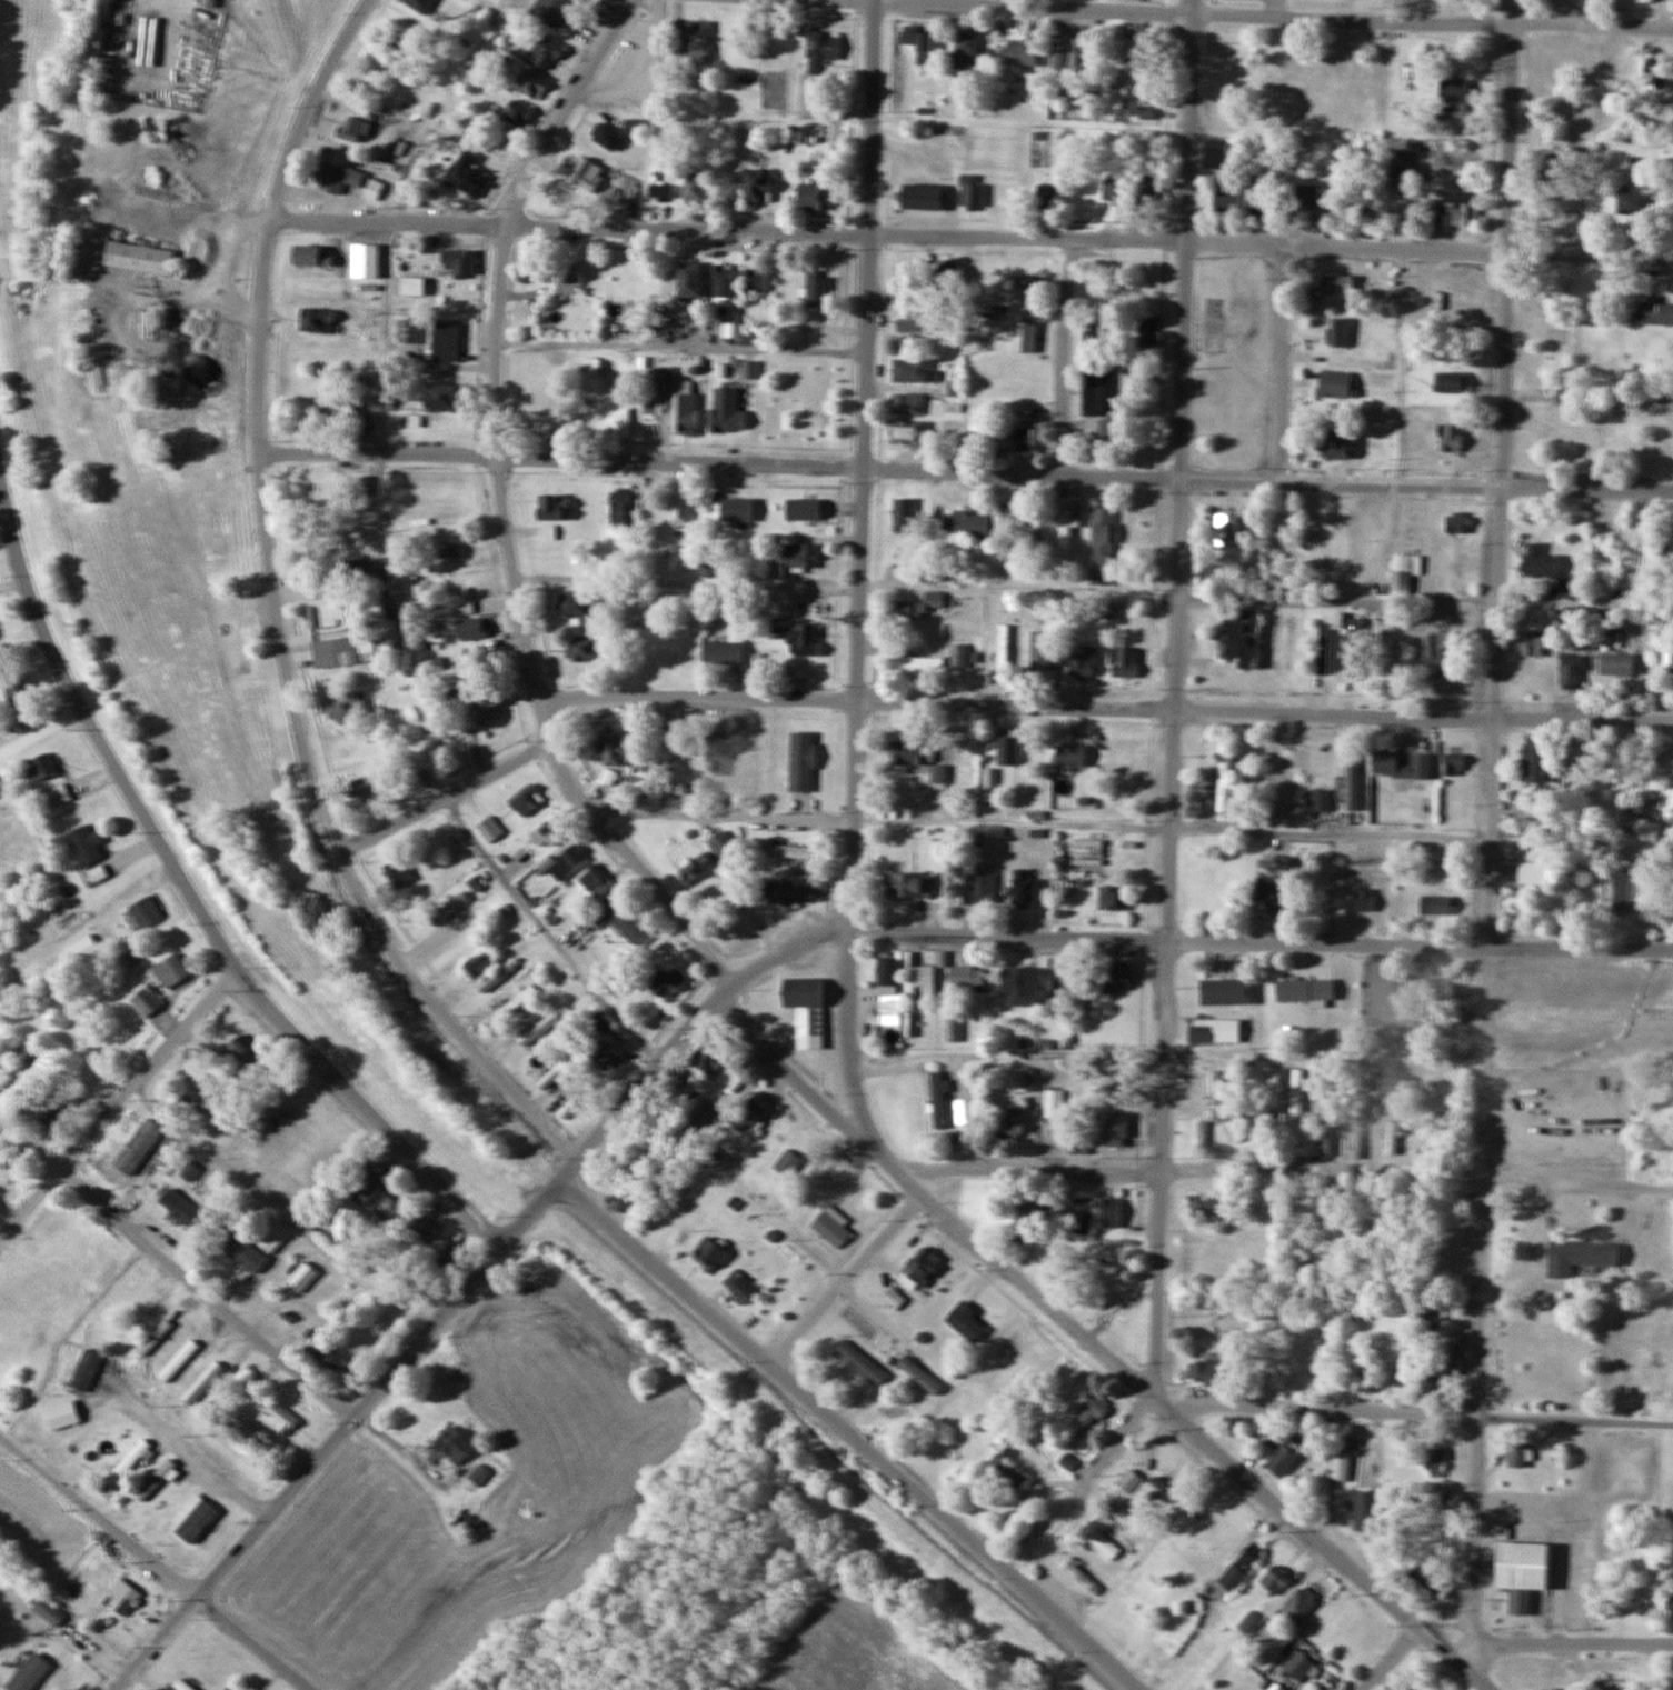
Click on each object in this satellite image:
building: (419, 4)
building: (551, 11)
road: (1273, 17)
building: (395, 42)
building: (917, 42)
building: (695, 43)
building: (966, 46)
building: (820, 50)
building: (542, 52)
building: (1019, 53)
building: (1079, 53)
building: (1654, 69)
building: (531, 86)
building: (1454, 90)
building: (516, 113)
building: (1146, 113)
road: (1512, 126)
building: (633, 127)
building: (352, 129)
building: (606, 136)
building: (497, 144)
building: (1214, 154)
building: (1552, 169)
building: (466, 174)
building: (586, 176)
building: (335, 178)
building: (757, 186)
building: (372, 188)
building: (694, 188)
building: (1146, 188)
building: (659, 192)
building: (970, 192)
building: (1114, 192)
building: (401, 194)
building: (920, 194)
building: (1048, 194)
building: (815, 197)
building: (1304, 197)
building: (1226, 201)
building: (1633, 202)
building: (1258, 208)
building: (1461, 208)
building: (1364, 216)
road: (570, 227)
road: (1271, 244)
building: (371, 250)
building: (309, 256)
building: (137, 257)
building: (456, 261)
building: (948, 272)
building: (566, 278)
building: (689, 280)
building: (724, 281)
building: (755, 282)
building: (1027, 282)
building: (410, 286)
building: (1336, 286)
building: (816, 289)
building: (1104, 307)
building: (1654, 312)
building: (313, 320)
building: (913, 321)
building: (368, 322)
building: (406, 331)
building: (1338, 332)
building: (753, 336)
building: (1023, 337)
building: (440, 343)
building: (983, 343)
park: (1174, 352)
road: (1060, 356)
road: (1282, 363)
building: (908, 369)
building: (1451, 382)
building: (664, 383)
building: (1334, 384)
building: (1102, 387)
building: (440, 397)
building: (904, 403)
building: (333, 410)
building: (724, 410)
building: (685, 413)
building: (540, 414)
building: (903, 432)
building: (1099, 432)
building: (978, 438)
building: (1450, 438)
building: (1018, 439)
building: (1337, 443)
road: (560, 459)
road: (1267, 480)
building: (552, 507)
building: (679, 508)
building: (619, 509)
building: (801, 509)
building: (736, 510)
building: (902, 514)
building: (962, 522)
building: (1456, 522)
building: (1036, 528)
building: (1225, 529)
building: (1064, 531)
building: (1101, 546)
building: (795, 557)
building: (1304, 562)
building: (371, 568)
building: (708, 571)
road: (859, 571)
building: (1404, 571)
building: (1570, 583)
building: (935, 599)
building: (579, 603)
building: (906, 610)
road: (277, 613)
road: (522, 613)
building: (326, 616)
building: (472, 628)
building: (797, 634)
building: (1238, 638)
building: (1532, 644)
building: (1002, 646)
building: (1354, 646)
building: (725, 647)
building: (585, 648)
building: (341, 650)
building: (1042, 650)
building: (1322, 650)
building: (1438, 651)
building: (1385, 652)
building: (957, 656)
building: (1666, 660)
building: (1122, 661)
building: (917, 662)
building: (1081, 662)
building: (1615, 663)
building: (1570, 669)
building: (16, 688)
road: (1175, 697)
road: (697, 699)
building: (343, 706)
building: (481, 710)
road: (1264, 711)
road: (42, 730)
building: (1006, 749)
building: (618, 751)
building: (908, 752)
building: (673, 754)
building: (715, 754)
building: (748, 754)
building: (1069, 756)
building: (801, 761)
building: (1452, 764)
building: (1534, 764)
building: (1401, 766)
building: (40, 767)
building: (937, 773)
building: (1348, 773)
building: (1223, 783)
building: (367, 788)
building: (57, 796)
road: (445, 797)
building: (525, 800)
building: (1320, 800)
building: (489, 830)
building: (549, 831)
building: (84, 842)
building: (721, 843)
building: (783, 852)
building: (567, 862)
building: (695, 868)
building: (397, 873)
building: (1533, 873)
building: (731, 877)
building: (596, 880)
building: (908, 886)
building: (983, 890)
building: (1023, 890)
building: (1272, 892)
building: (791, 894)
building: (717, 896)
road: (193, 897)
building: (1111, 899)
building: (1363, 901)
building: (1435, 906)
building: (450, 907)
building: (143, 911)
building: (630, 926)
road: (547, 933)
building: (474, 937)
road: (1262, 942)
building: (81, 949)
road: (1486, 952)
building: (479, 963)
building: (170, 969)
building: (887, 972)
building: (496, 976)
building: (924, 977)
building: (967, 977)
building: (1054, 978)
building: (1114, 978)
building: (668, 980)
building: (1017, 984)
building: (1376, 988)
building: (1304, 989)
building: (1226, 991)
building: (146, 999)
building: (516, 1002)
building: (889, 1009)
building: (806, 1010)
building: (600, 1022)
building: (537, 1027)
building: (1214, 1030)
building: (246, 1050)
building: (7, 1051)
building: (604, 1056)
building: (707, 1058)
building: (33, 1059)
building: (554, 1074)
building: (1112, 1074)
building: (1024, 1079)
building: (1294, 1086)
building: (1374, 1092)
building: (1216, 1094)
road: (119, 1099)
building: (939, 1099)
building: (572, 1102)
building: (1054, 1103)
building: (754, 1107)
building: (49, 1113)
building: (1012, 1122)
building: (1117, 1128)
building: (1201, 1134)
building: (1323, 1134)
building: (1355, 1137)
building: (1391, 1137)
building: (111, 1162)
building: (786, 1162)
road: (888, 1162)
road: (1288, 1168)
building: (190, 1171)
building: (364, 1184)
building: (1208, 1204)
building: (178, 1207)
building: (1028, 1208)
building: (394, 1209)
building: (1082, 1212)
building: (1109, 1212)
building: (424, 1224)
building: (829, 1228)
building: (272, 1236)
building: (447, 1249)
building: (709, 1252)
building: (1577, 1254)
road: (177, 1266)
building: (917, 1268)
building: (301, 1276)
road: (844, 1278)
road: (469, 1286)
building: (739, 1286)
building: (964, 1319)
building: (1445, 1348)
building: (330, 1358)
building: (1367, 1359)
building: (860, 1361)
building: (1405, 1362)
building: (90, 1369)
building: (1204, 1371)
building: (918, 1374)
building: (1089, 1410)
building: (68, 1413)
road: (1423, 1414)
building: (281, 1417)
road: (849, 1434)
road: (1198, 1437)
building: (454, 1442)
road: (1114, 1443)
building: (1515, 1453)
road: (198, 1454)
building: (1282, 1456)
building: (1066, 1461)
building: (1436, 1461)
building: (1338, 1462)
building: (1006, 1472)
building: (479, 1474)
building: (1145, 1488)
building: (1363, 1511)
building: (465, 1522)
building: (1103, 1543)
road: (159, 1562)
building: (1239, 1567)
building: (1521, 1569)
building: (1079, 1577)
building: (1275, 1578)
building: (1430, 1578)
building: (123, 1597)
building: (1296, 1604)
building: (1670, 1604)
building: (47, 1609)
road: (1073, 1617)
road: (1570, 1646)
road: (1462, 1654)
road: (1391, 1658)
building: (1298, 1664)
building: (29, 1673)
building: (182, 1683)
building: (1615, 1684)
building: (1275, 1687)

